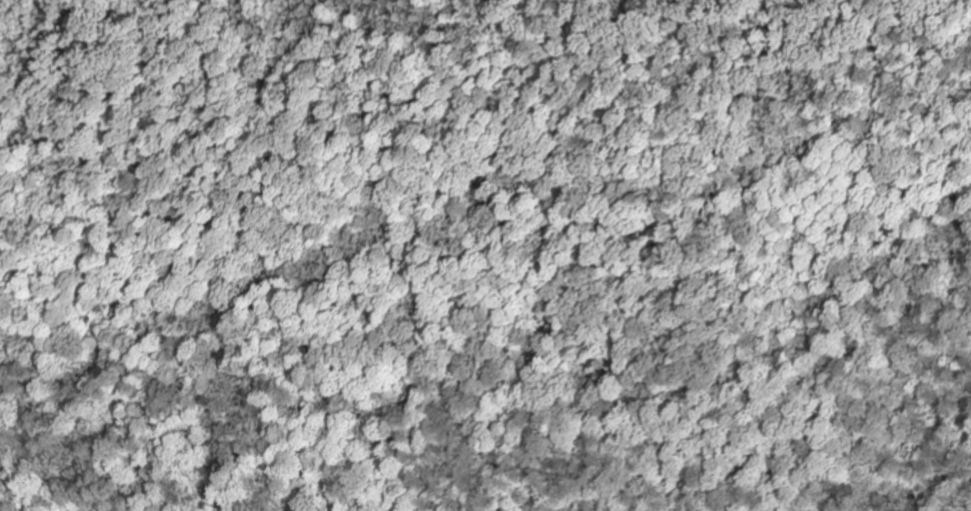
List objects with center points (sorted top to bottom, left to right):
road: (403, 64)

